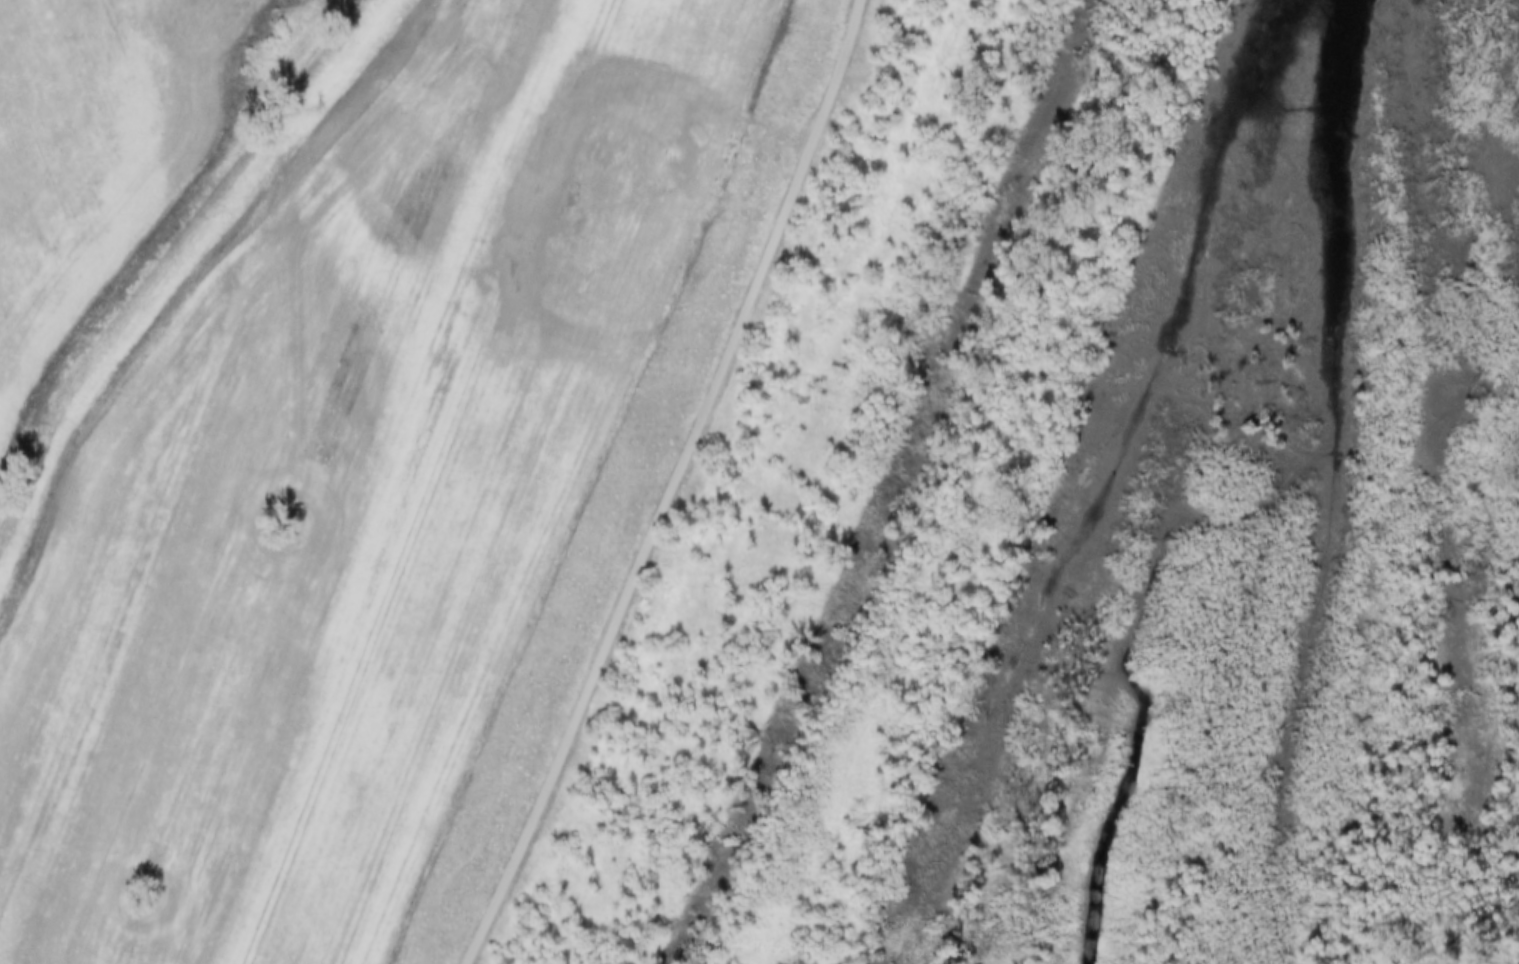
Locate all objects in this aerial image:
road: (666, 484)

